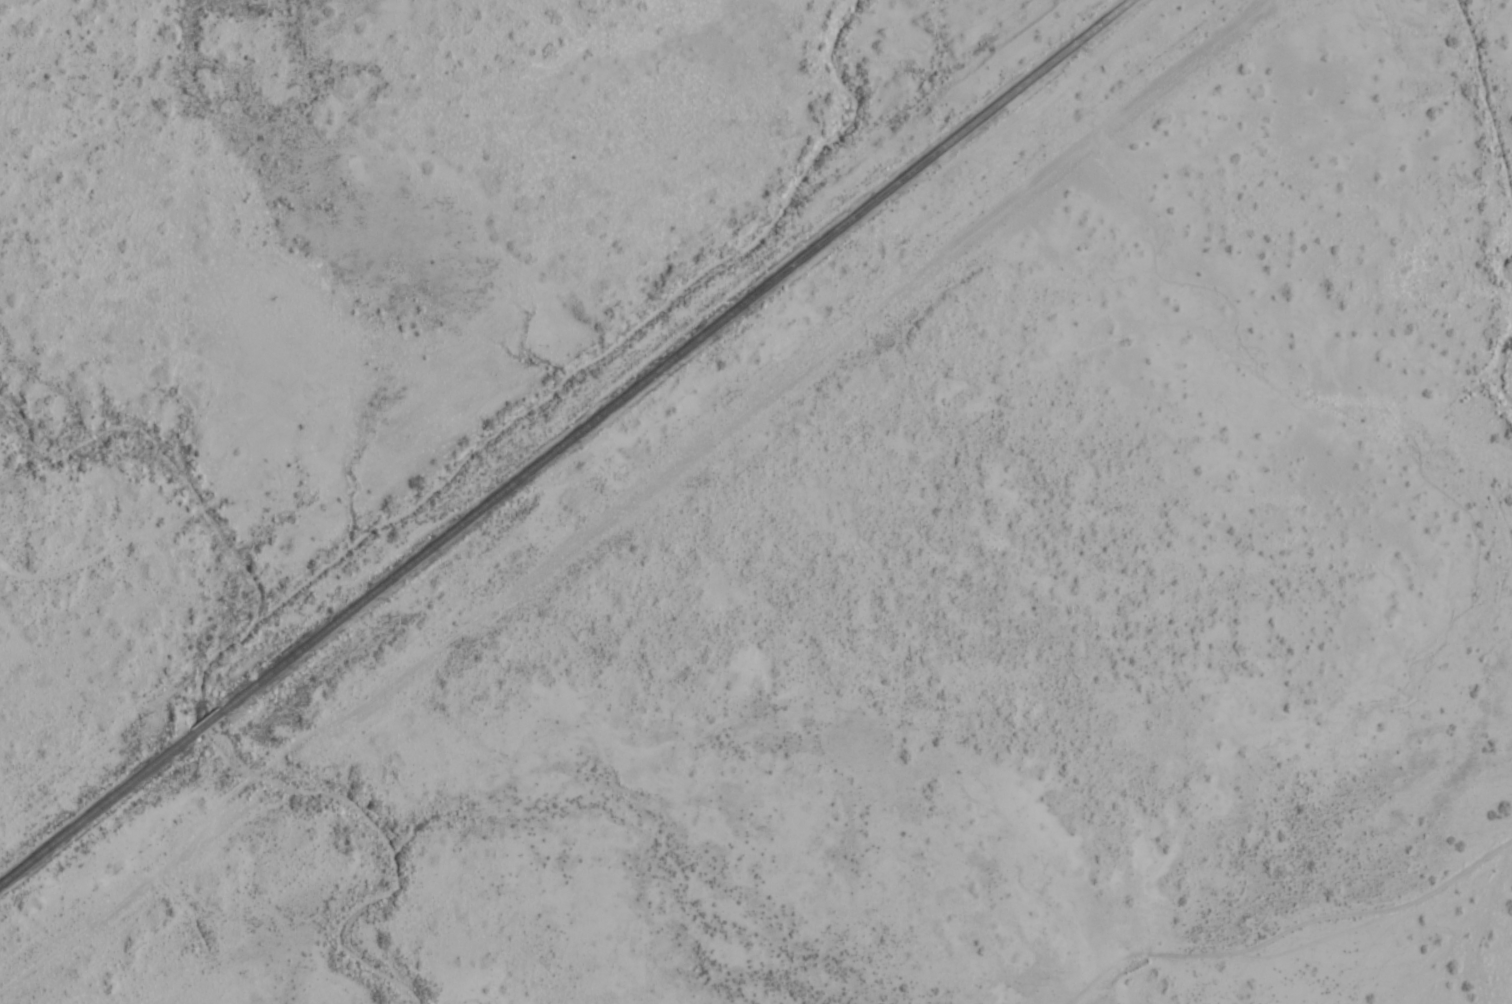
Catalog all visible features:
railway: (565, 443)
road: (1349, 906)
road: (102, 907)

